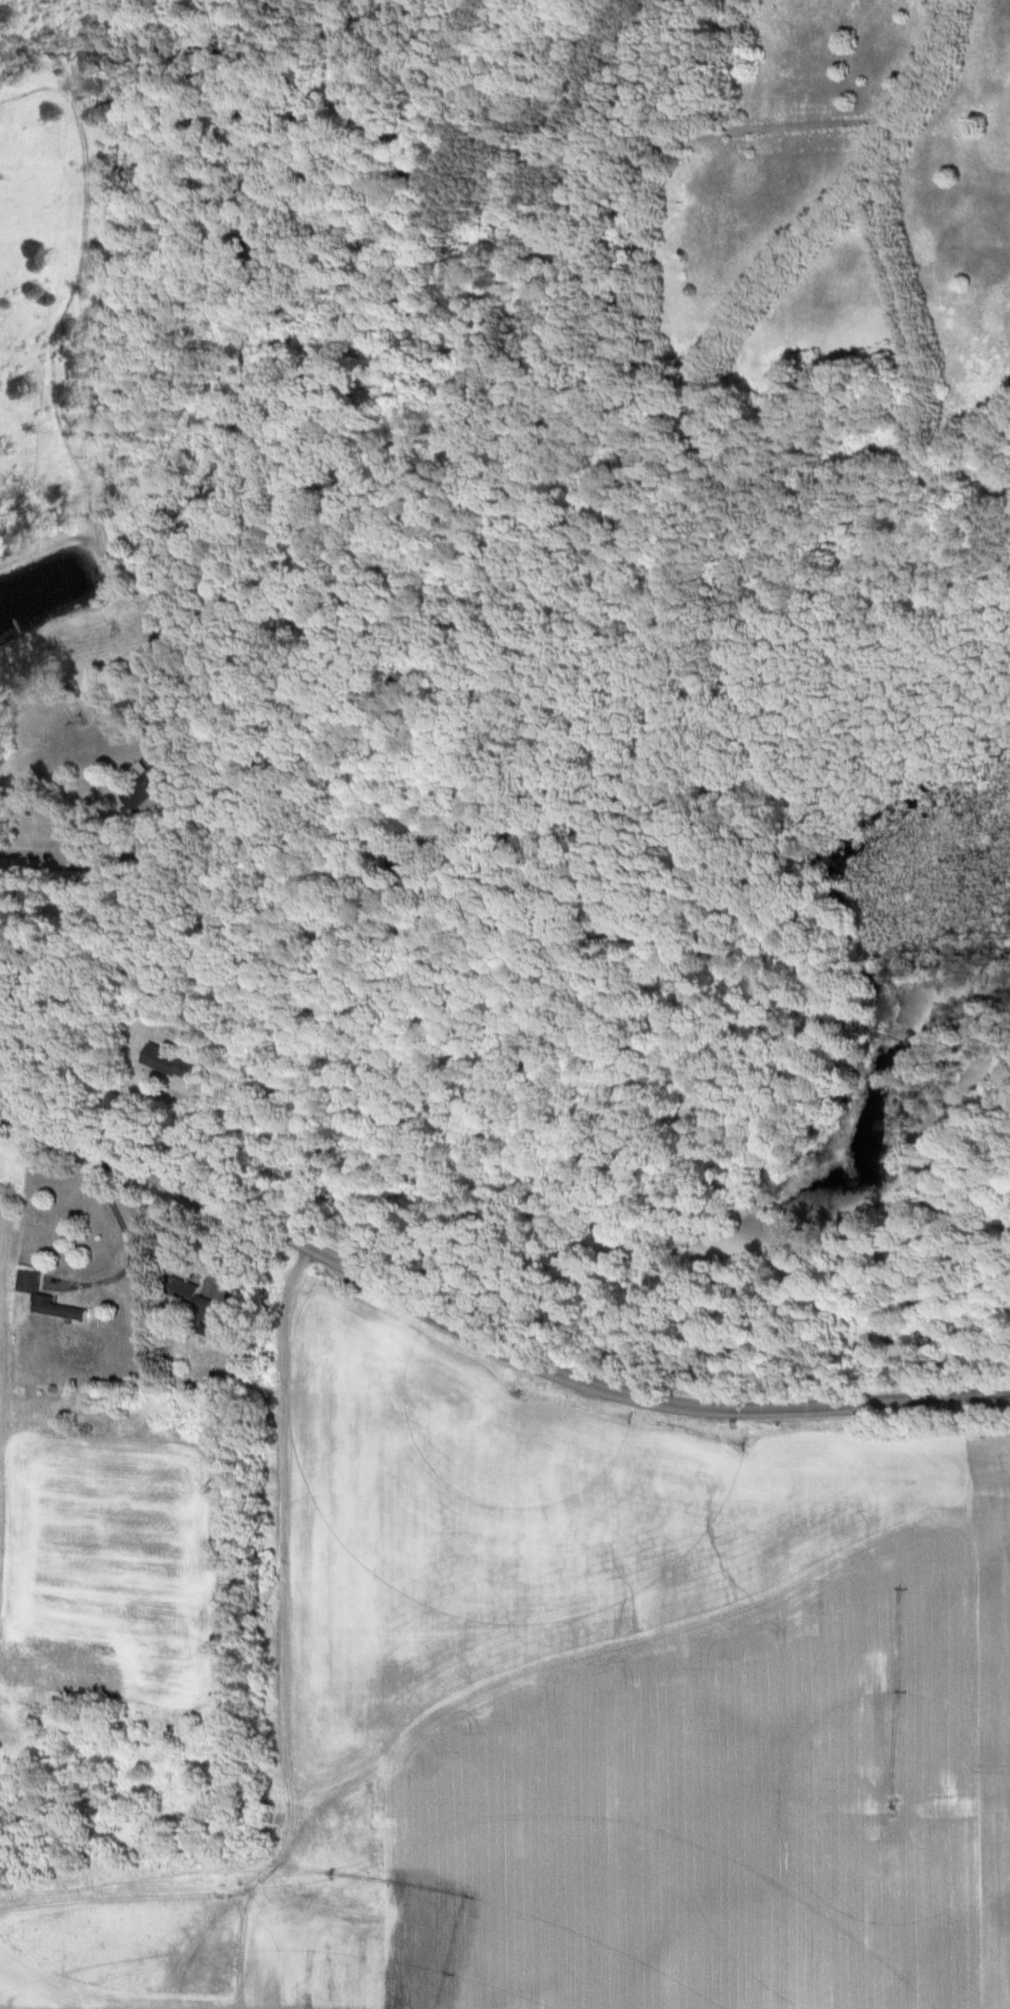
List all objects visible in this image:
building: (146, 784)
road: (59, 847)
building: (171, 1061)
building: (47, 1299)
building: (194, 1300)
building: (871, 1332)
road: (485, 1342)

